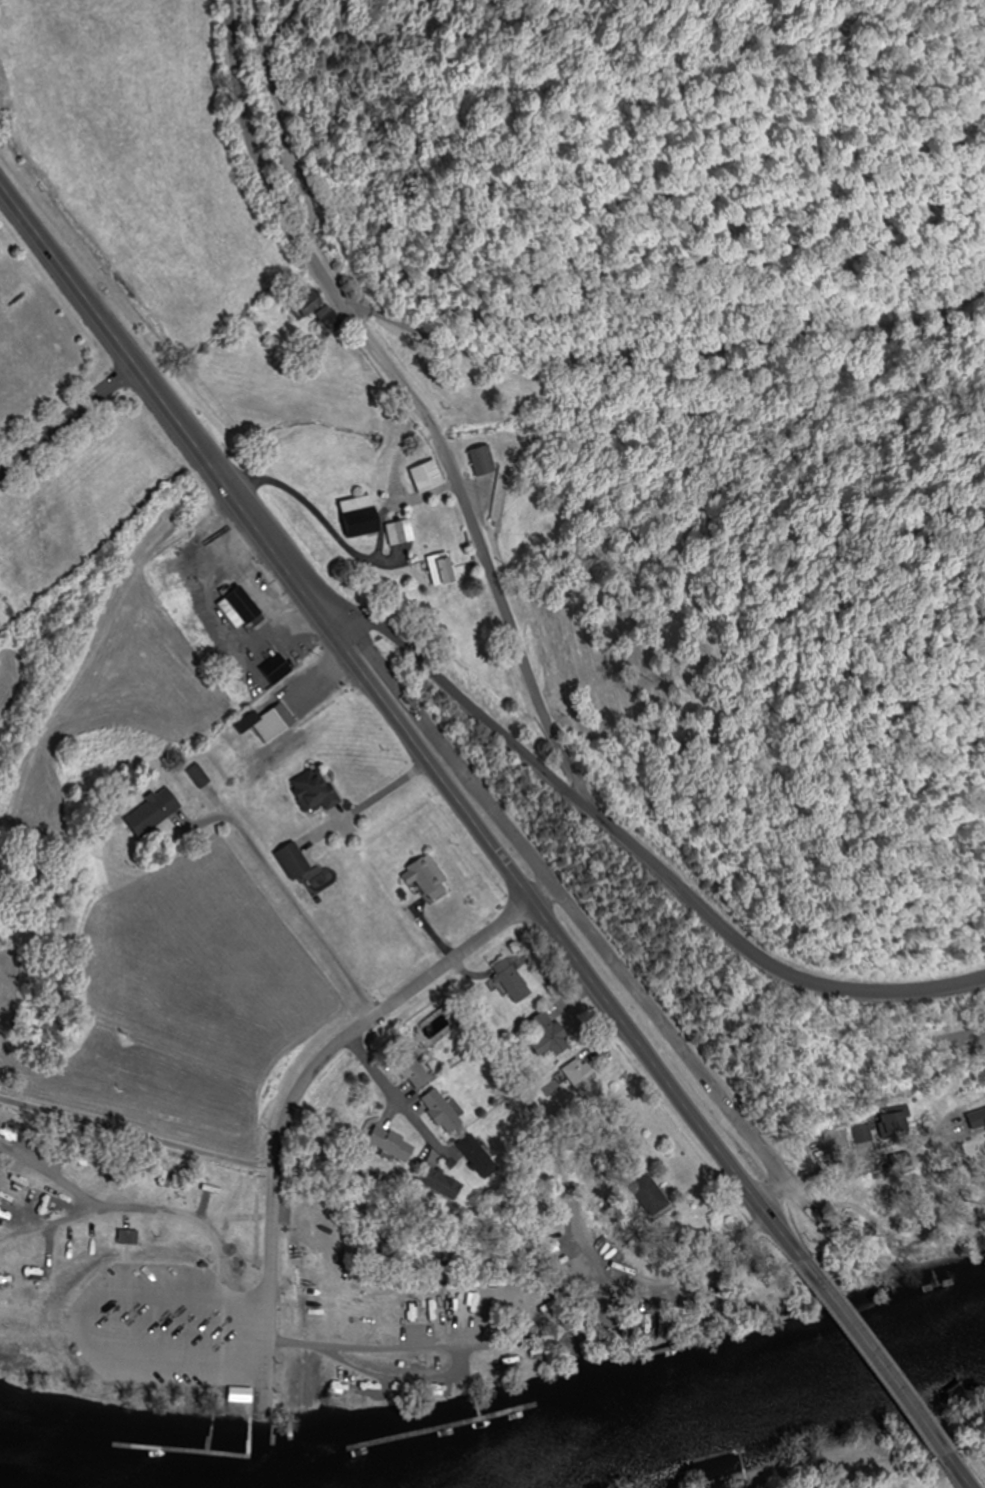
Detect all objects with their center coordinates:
building: (323, 311)
road: (107, 319)
road: (672, 351)
road: (421, 394)
road: (71, 417)
building: (485, 461)
building: (430, 476)
building: (363, 515)
building: (402, 532)
road: (281, 548)
building: (444, 569)
building: (250, 606)
building: (267, 720)
road: (427, 752)
building: (200, 776)
building: (316, 790)
building: (155, 813)
road: (646, 857)
building: (295, 862)
building: (428, 878)
road: (597, 930)
building: (512, 981)
building: (550, 1036)
road: (654, 1061)
building: (412, 1069)
road: (307, 1077)
building: (583, 1077)
road: (406, 1100)
building: (443, 1112)
building: (978, 1121)
road: (136, 1134)
building: (395, 1144)
road: (53, 1176)
building: (442, 1183)
building: (652, 1196)
road: (144, 1207)
building: (131, 1236)
building: (245, 1267)
road: (88, 1322)
parking lot: (174, 1329)
pier: (754, 1332)
road: (875, 1355)
pier: (693, 1358)
road: (446, 1377)
pier: (476, 1405)
pier: (429, 1427)
pier: (215, 1454)
road: (961, 1470)

